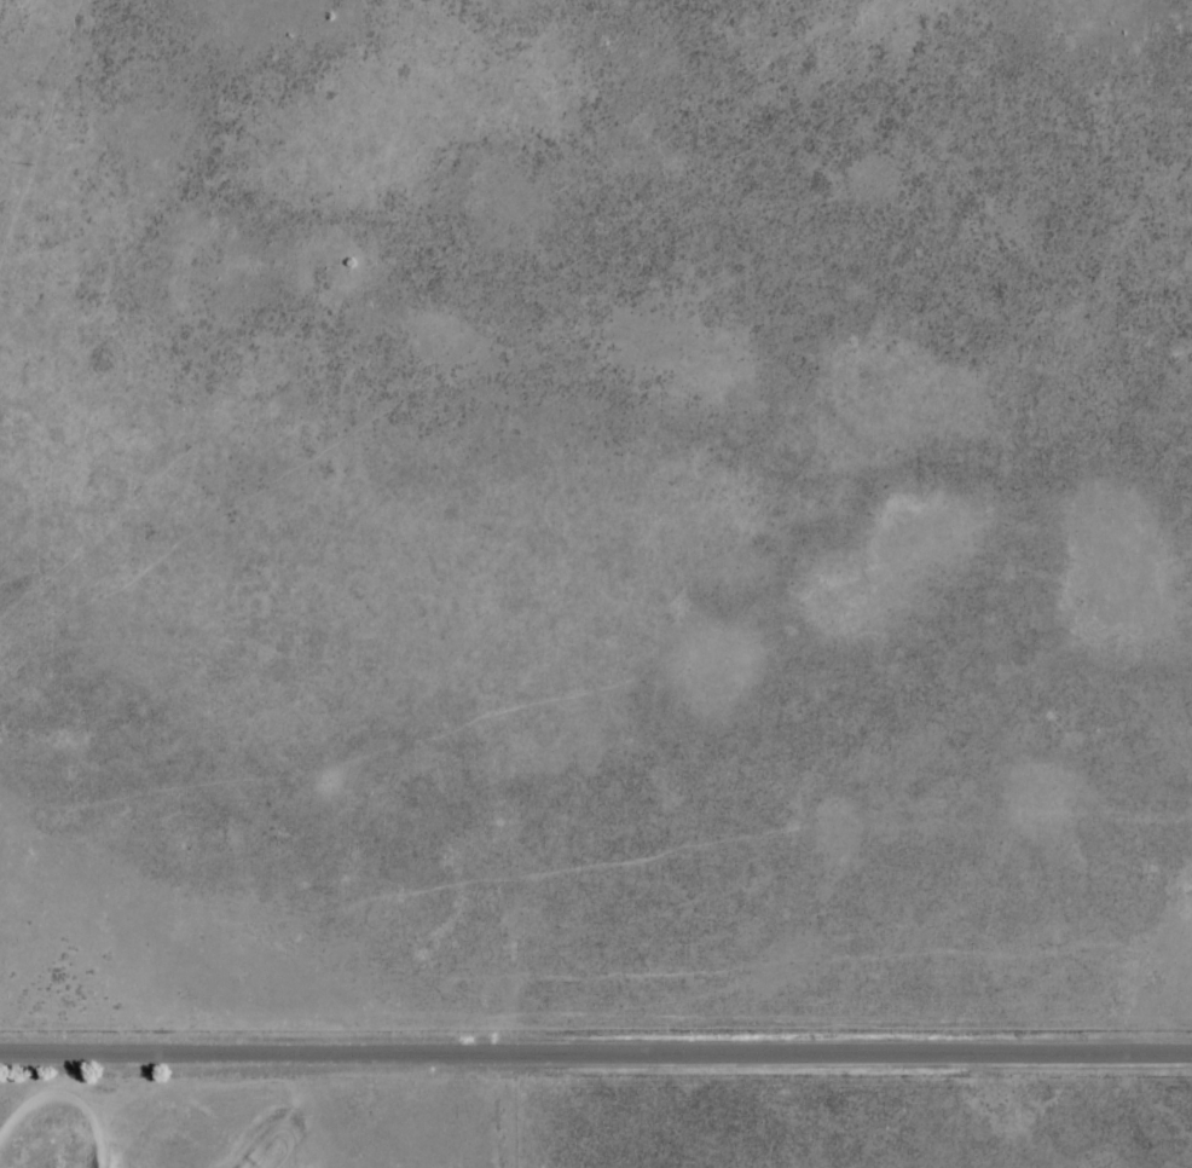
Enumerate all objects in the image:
road: (596, 1065)

